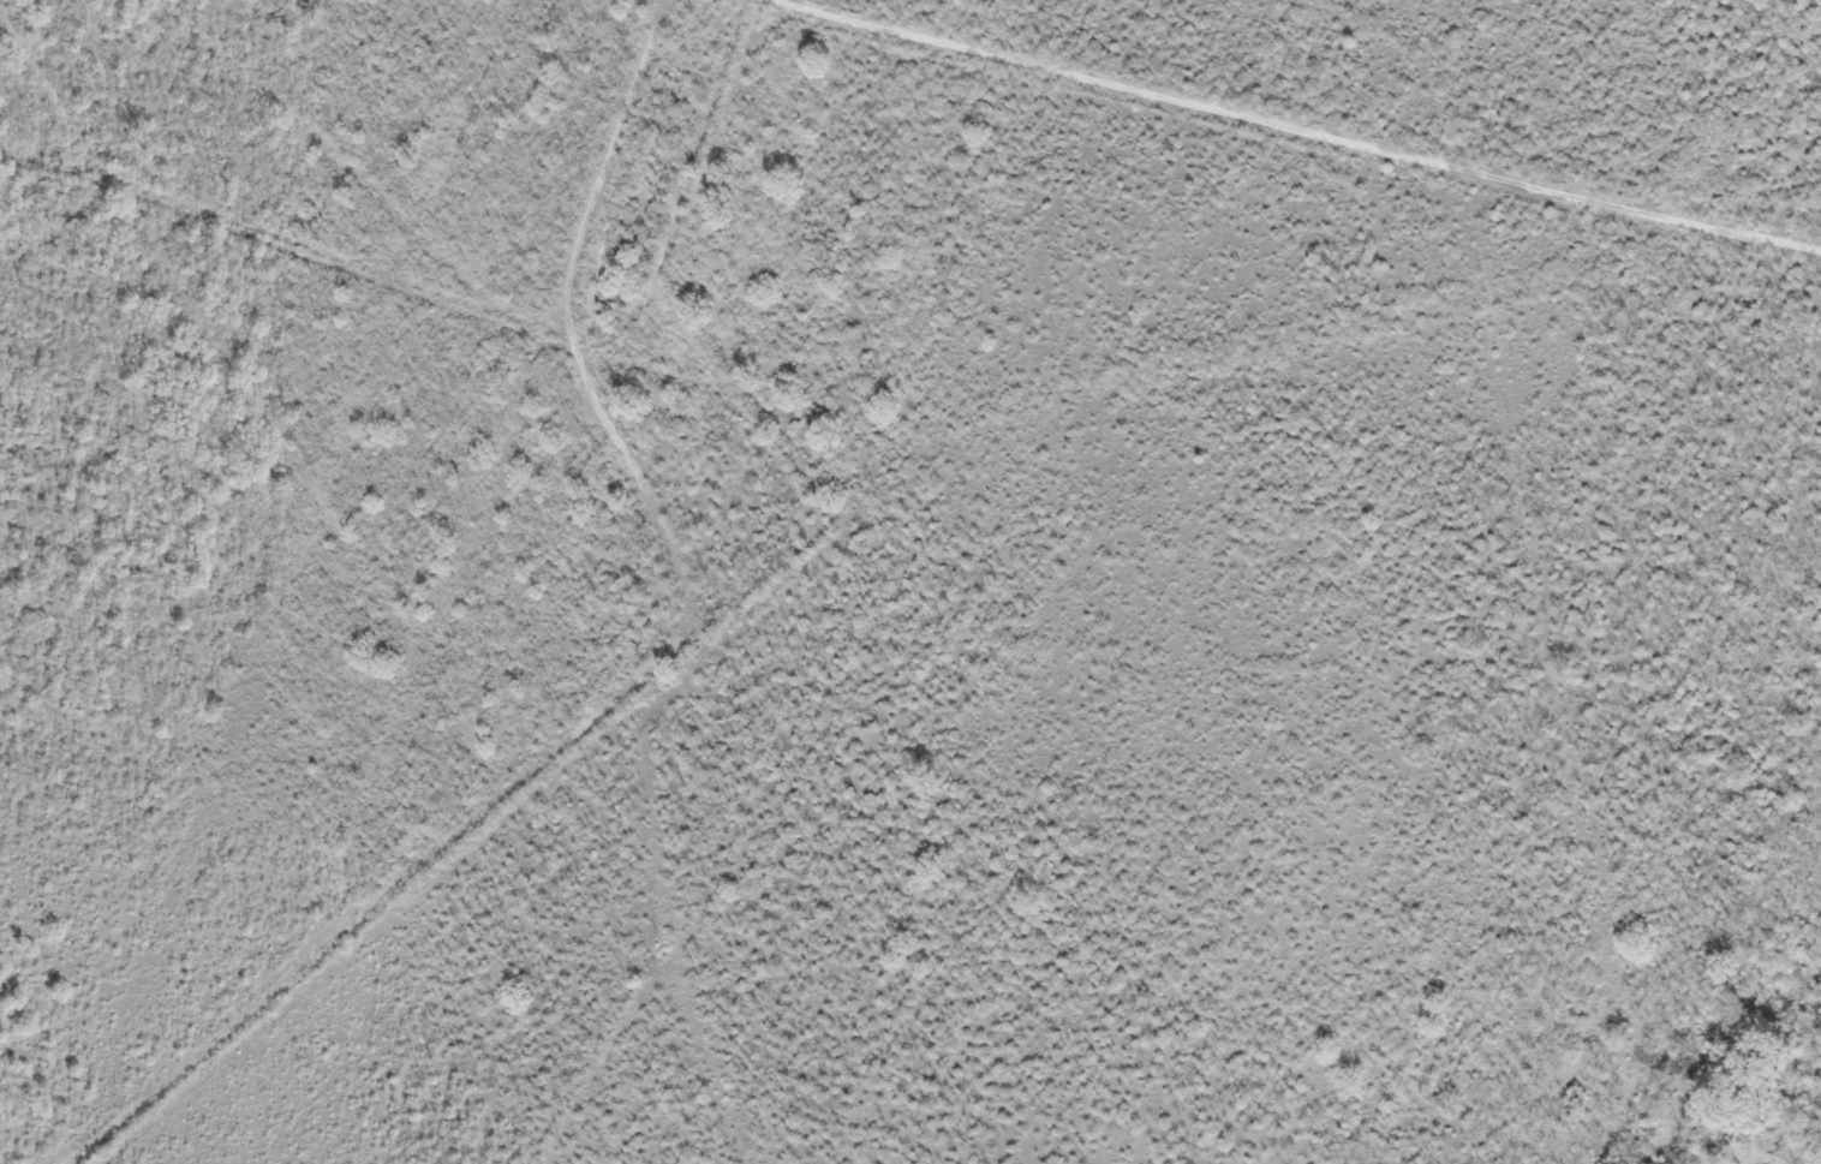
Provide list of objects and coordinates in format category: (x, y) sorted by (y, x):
road: (1294, 130)
road: (631, 681)

